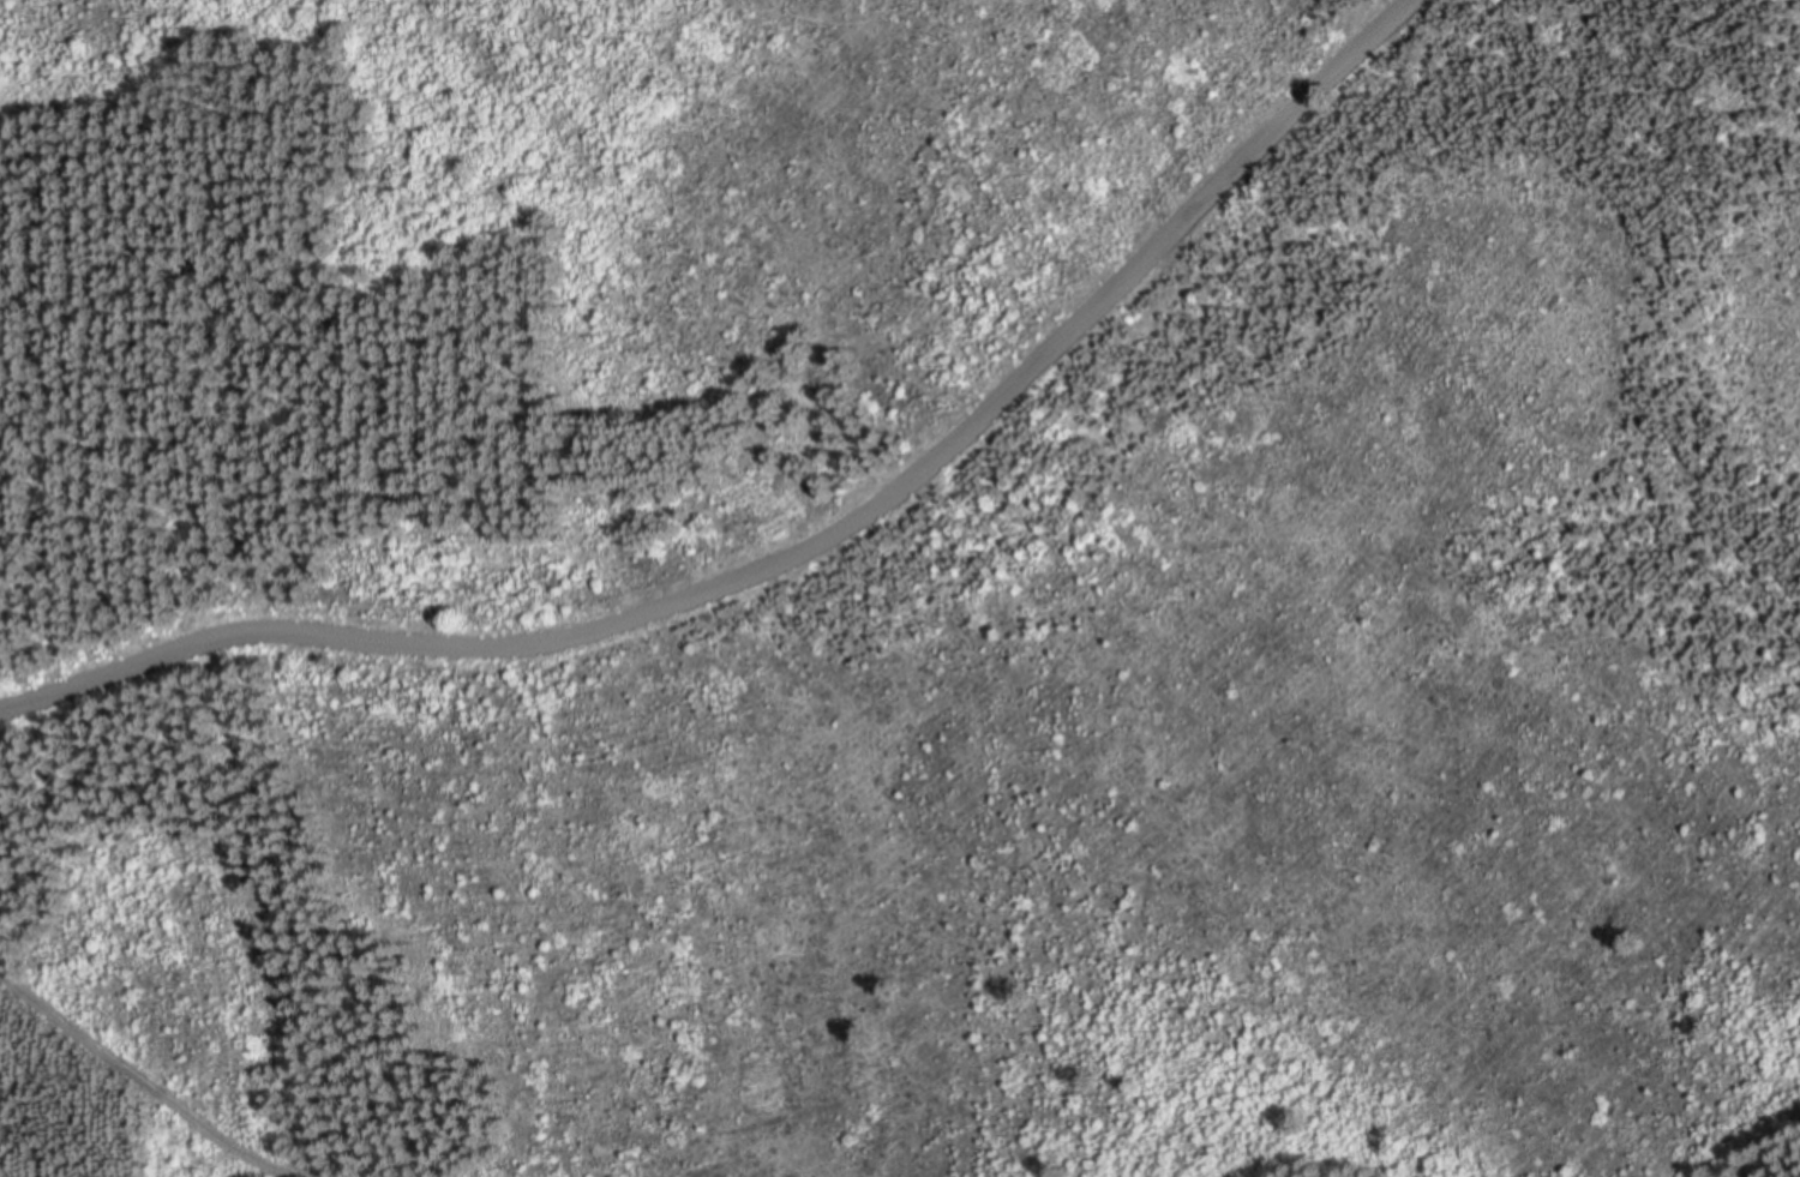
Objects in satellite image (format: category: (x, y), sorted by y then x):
road: (804, 557)

